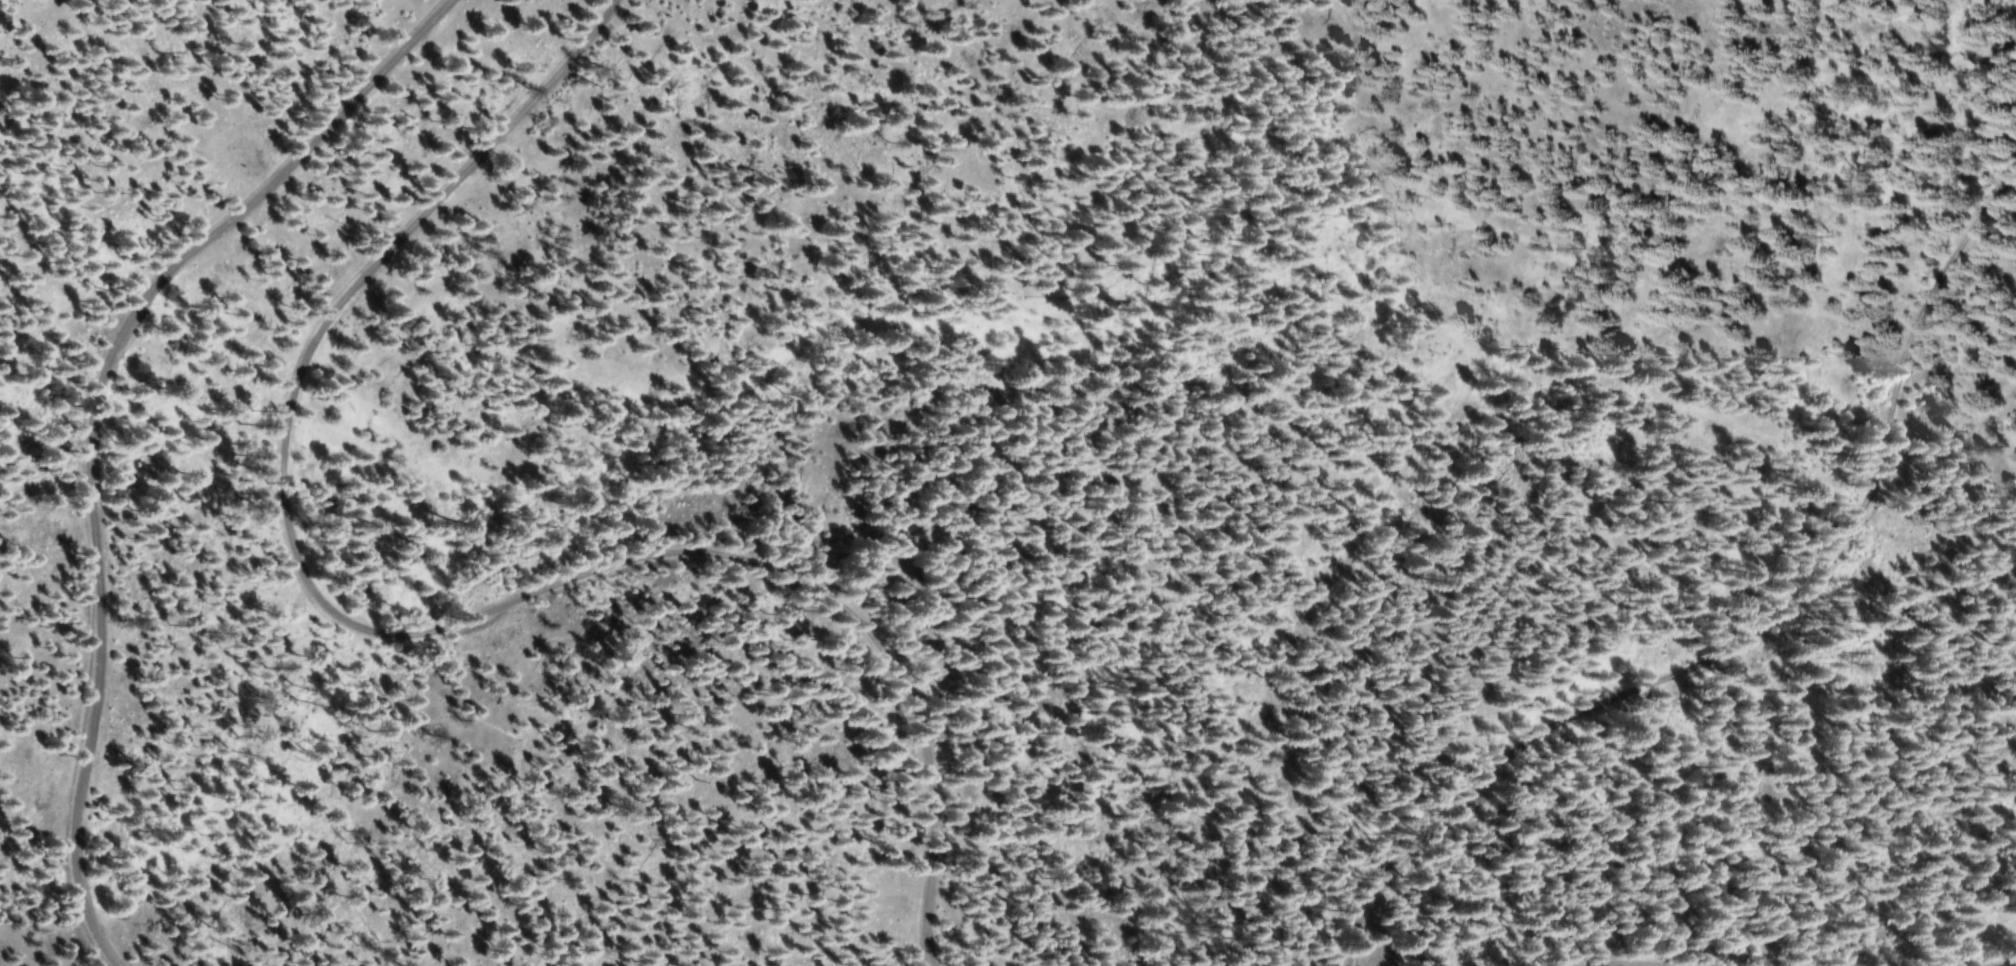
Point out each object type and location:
road: (111, 415)
road: (1751, 631)
road: (415, 632)
road: (1628, 959)
road: (2003, 962)

